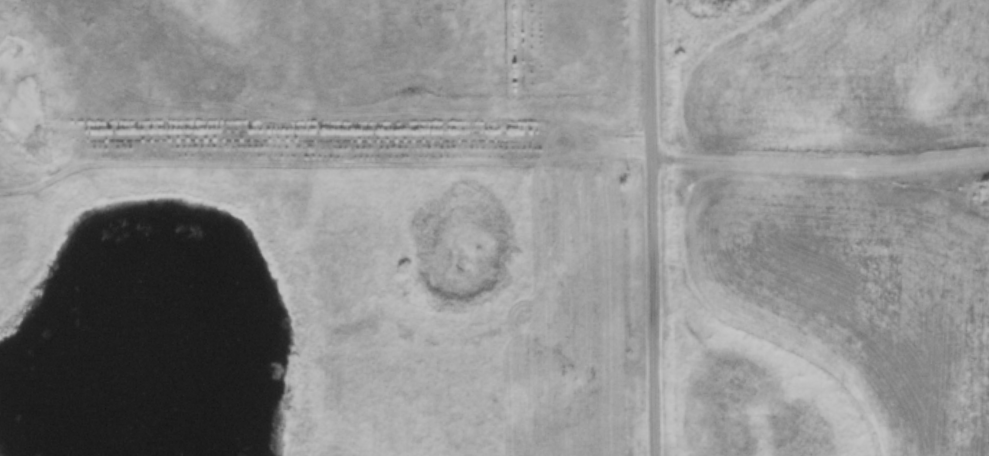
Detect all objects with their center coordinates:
road: (655, 227)

